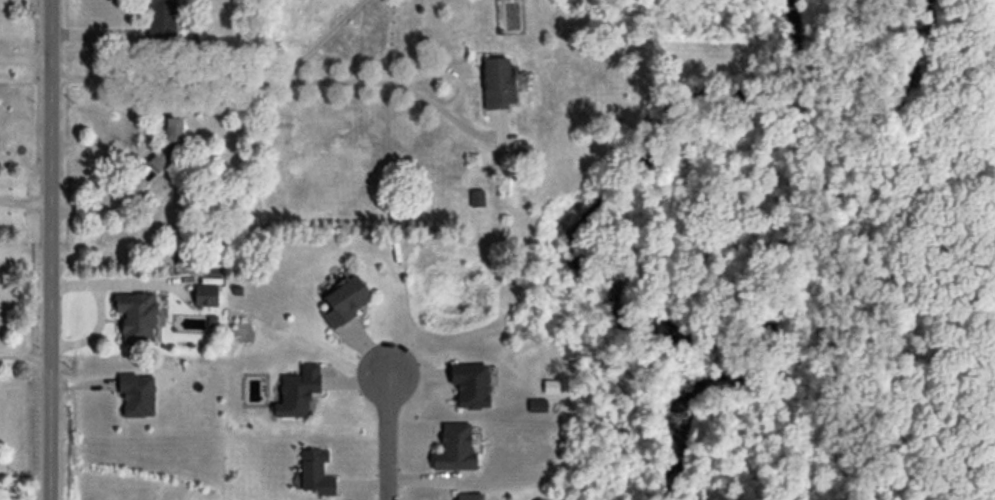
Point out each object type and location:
building: (159, 22)
road: (25, 56)
road: (227, 80)
building: (496, 84)
building: (177, 131)
road: (24, 198)
building: (475, 199)
road: (50, 249)
building: (208, 296)
building: (342, 301)
building: (139, 317)
road: (25, 358)
building: (467, 387)
building: (294, 394)
building: (139, 397)
building: (534, 407)
road: (389, 437)
building: (453, 448)
building: (312, 475)
building: (467, 497)

